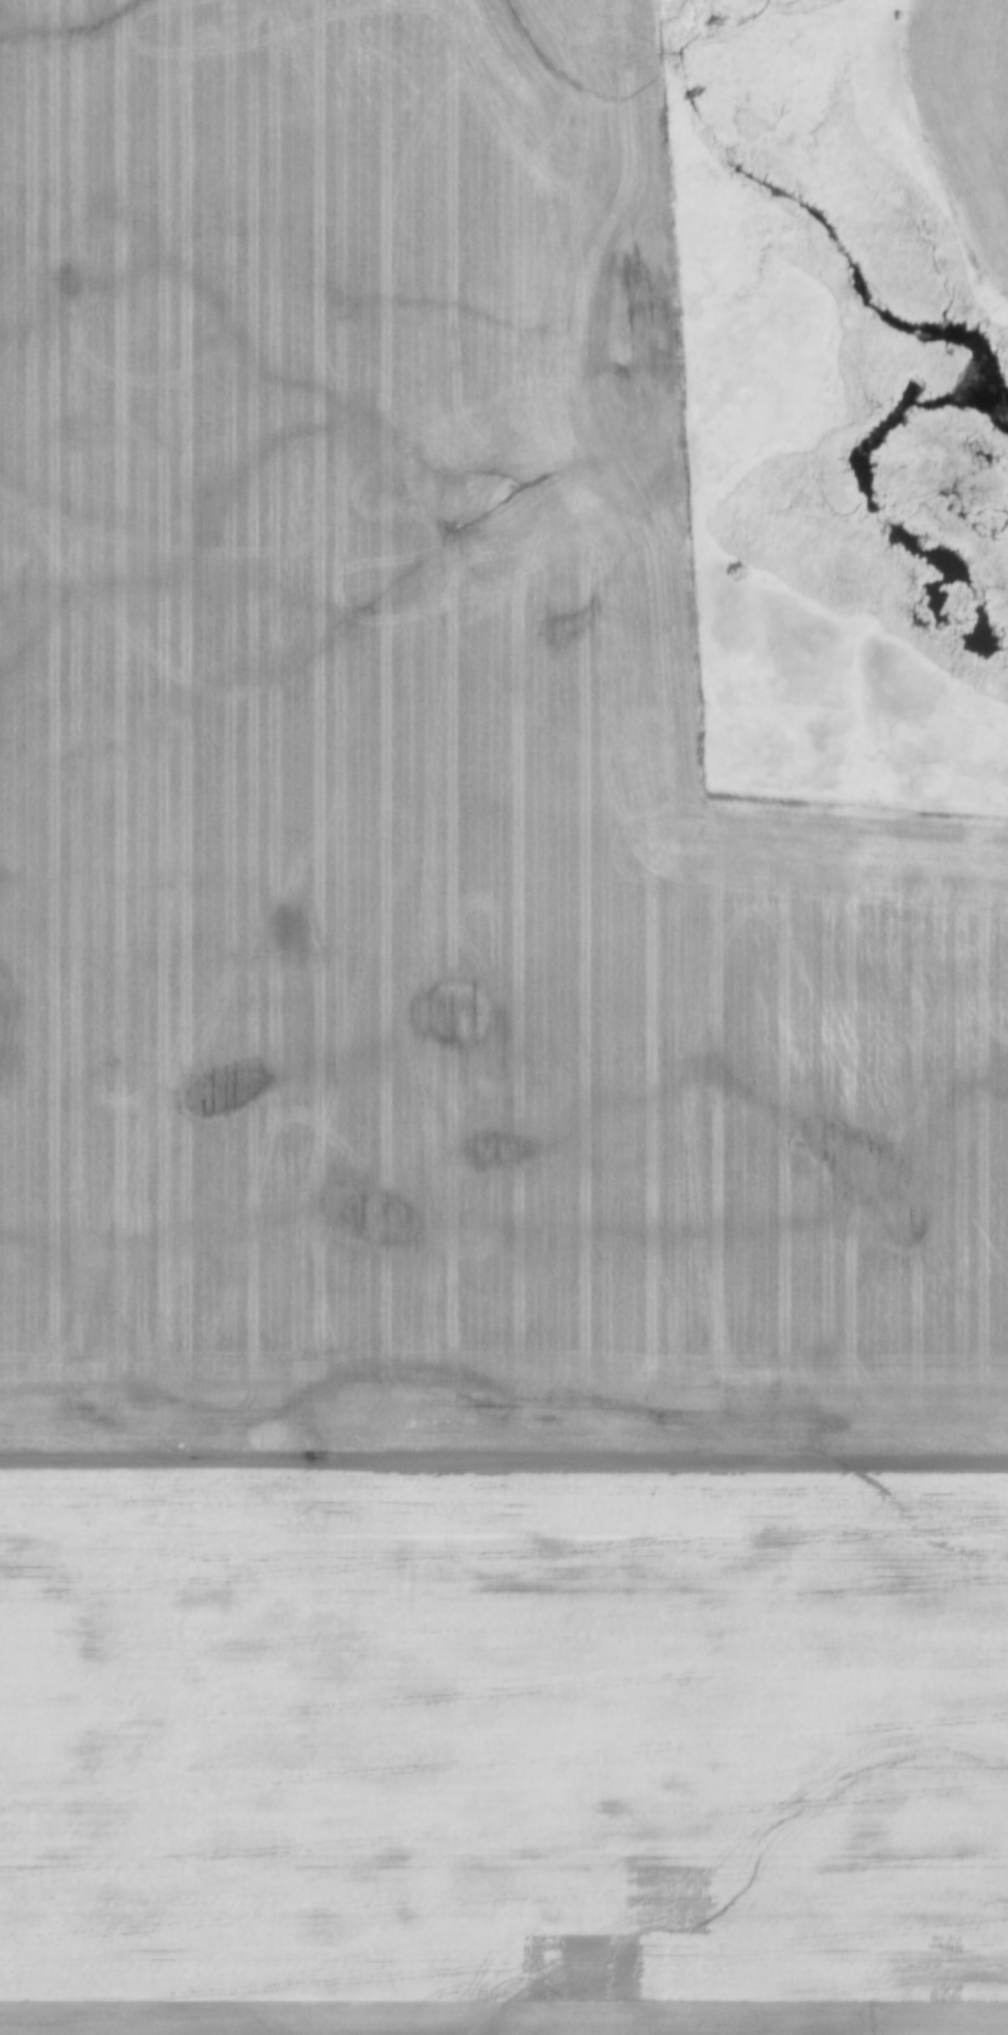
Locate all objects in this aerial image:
road: (504, 1459)

